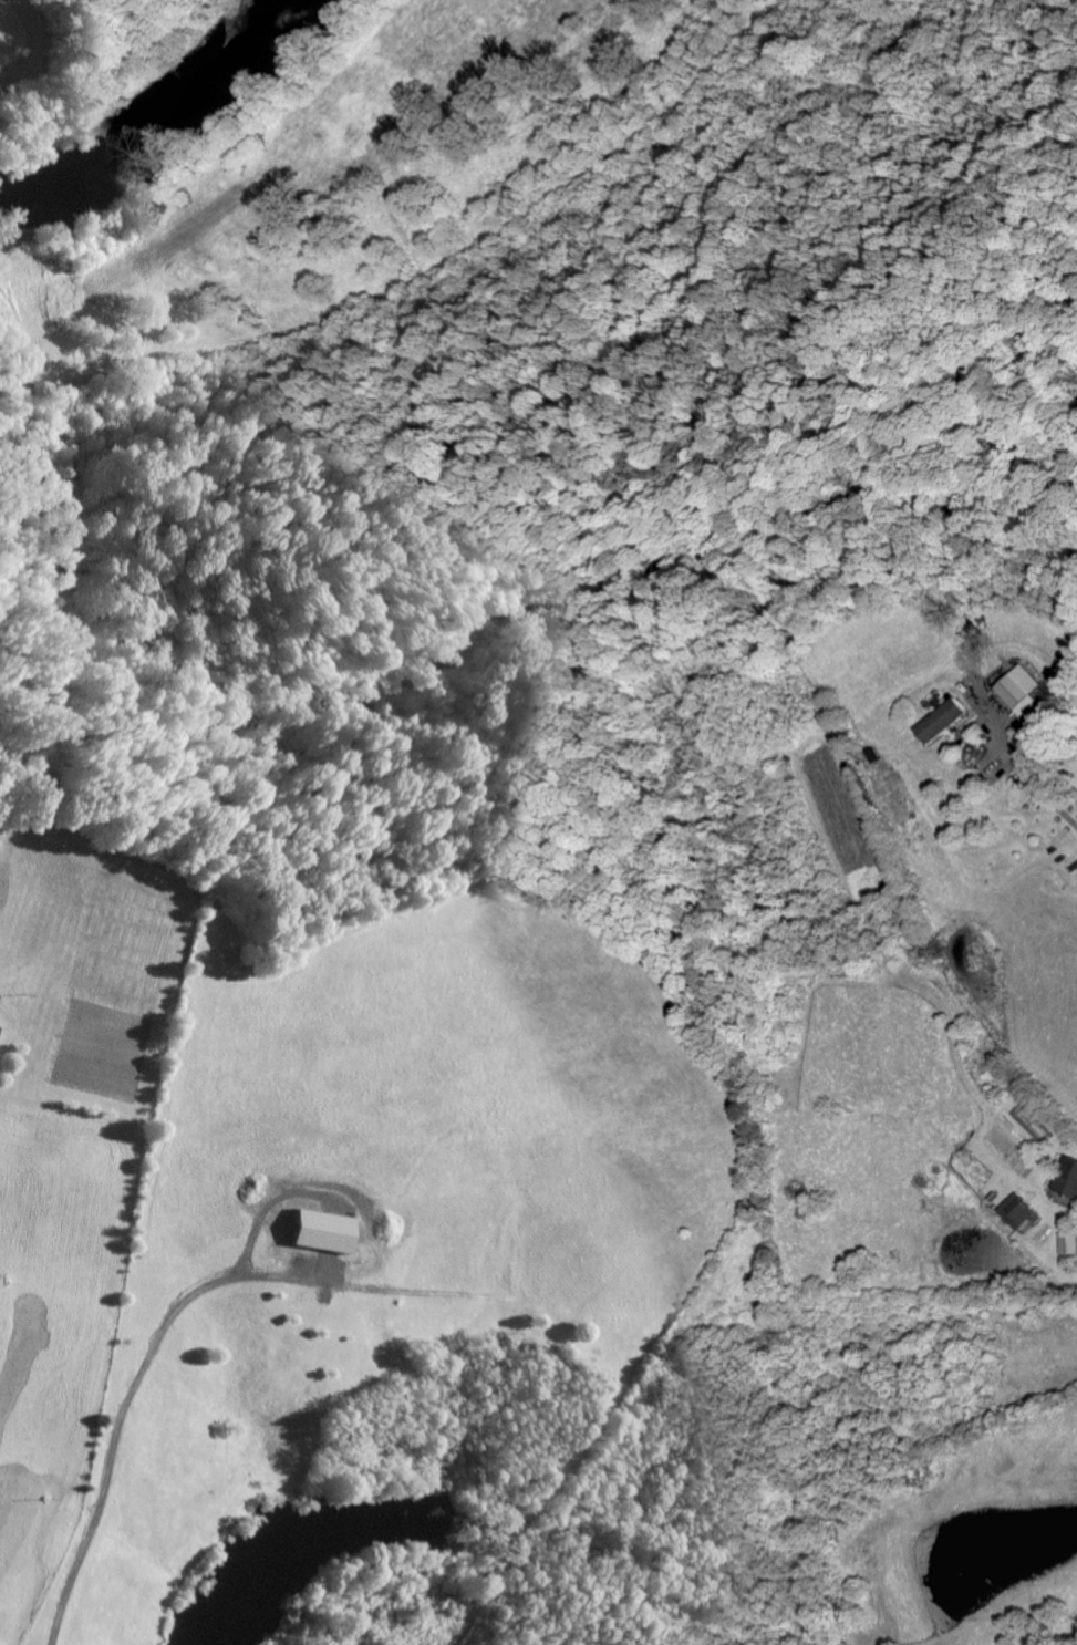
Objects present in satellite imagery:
river: (158, 125)
road: (352, 207)
building: (1019, 692)
building: (940, 721)
road: (1047, 796)
building: (0, 1028)
building: (1067, 1179)
building: (1013, 1213)
building: (1067, 1244)

